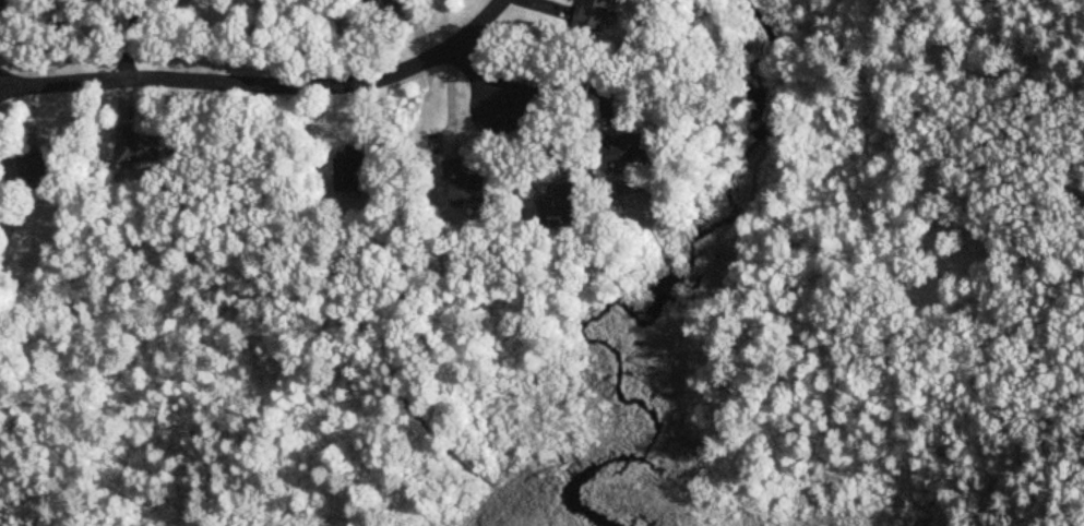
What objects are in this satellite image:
building: (2, 2)
building: (391, 4)
building: (598, 14)
road: (440, 48)
road: (1080, 56)
road: (167, 80)
road: (483, 81)
road: (353, 84)
road: (563, 88)
building: (135, 148)
building: (631, 148)
building: (38, 168)
building: (348, 174)
building: (468, 184)
building: (565, 208)

